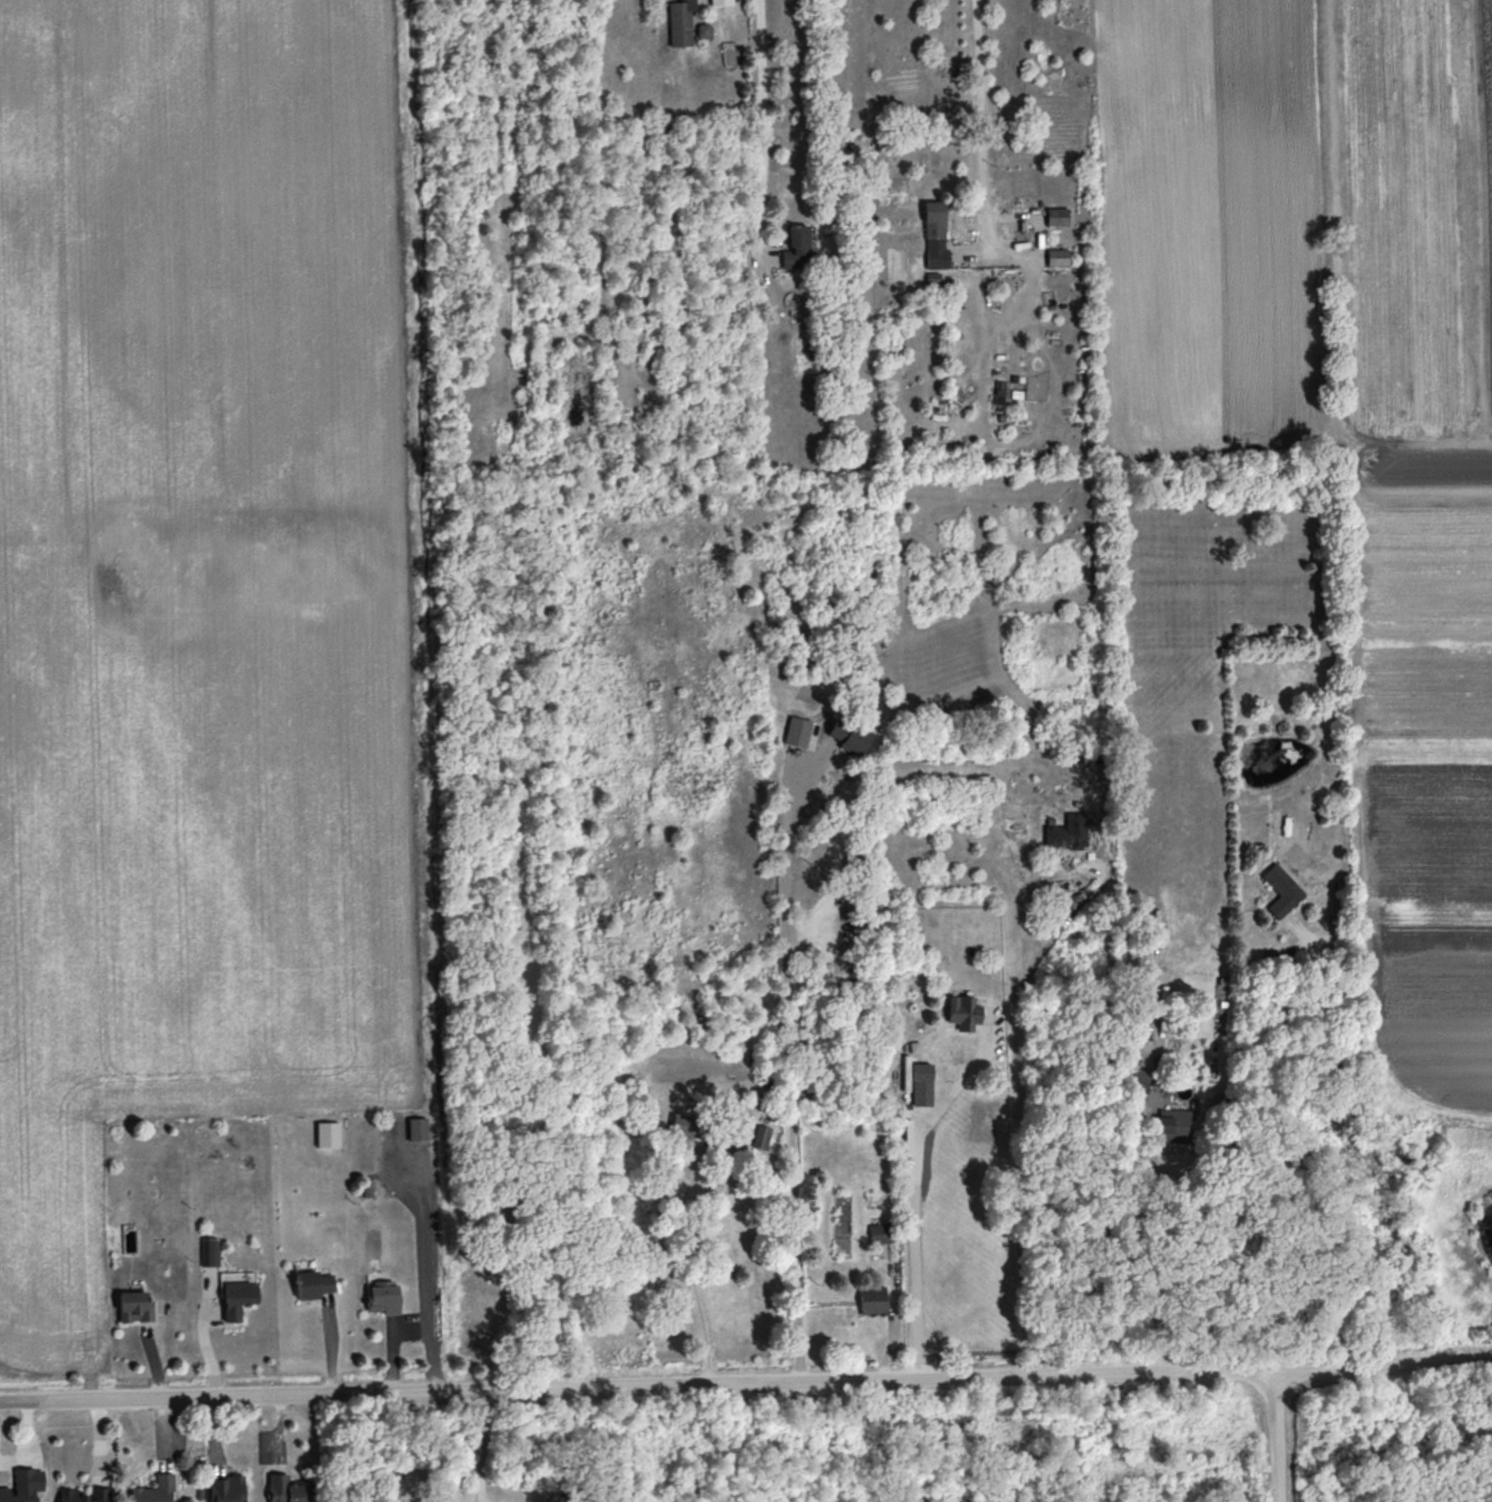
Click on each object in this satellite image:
building: (720, 2)
building: (684, 23)
road: (757, 125)
road: (1483, 204)
building: (1056, 216)
building: (935, 235)
road: (984, 235)
building: (796, 247)
building: (1057, 257)
building: (998, 396)
building: (797, 731)
building: (847, 736)
building: (1068, 832)
building: (1281, 890)
building: (964, 1012)
road: (789, 1070)
building: (1138, 1080)
building: (921, 1084)
road: (1017, 1112)
building: (684, 1125)
building: (1174, 1125)
building: (417, 1128)
building: (327, 1134)
building: (762, 1137)
road: (1339, 1150)
road: (917, 1214)
building: (880, 1233)
road: (420, 1236)
building: (209, 1252)
road: (688, 1269)
road: (1161, 1270)
building: (312, 1284)
building: (382, 1297)
building: (872, 1300)
building: (135, 1306)
road: (413, 1325)
road: (768, 1381)
road: (23, 1406)
road: (1274, 1433)
road: (483, 1446)
building: (22, 1486)
building: (227, 1488)
building: (286, 1489)
building: (154, 1490)
building: (84, 1495)

